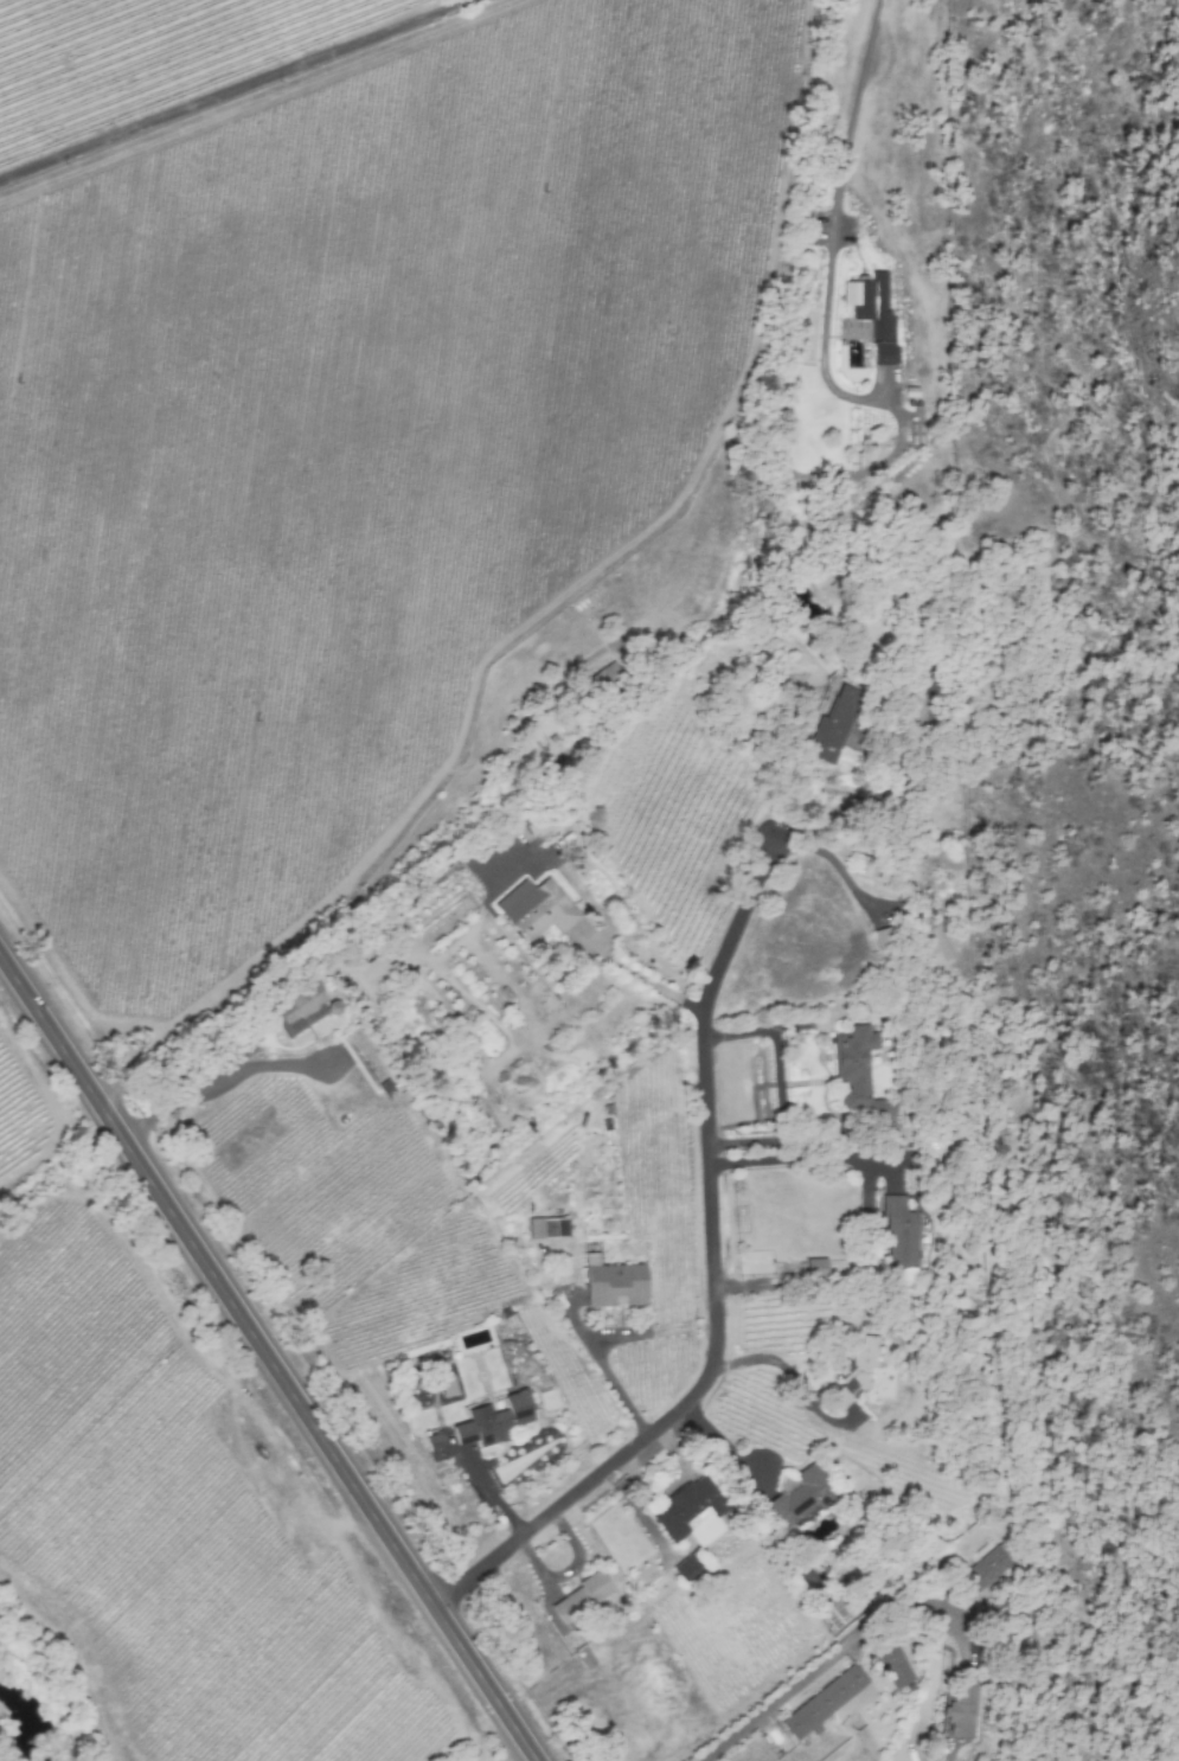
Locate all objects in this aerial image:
road: (232, 87)
road: (832, 224)
building: (872, 313)
building: (603, 680)
building: (833, 726)
building: (538, 817)
road: (837, 867)
building: (865, 867)
building: (536, 909)
building: (933, 939)
building: (378, 973)
road: (641, 979)
building: (300, 1003)
building: (333, 1007)
building: (858, 1072)
road: (220, 1077)
road: (802, 1158)
building: (547, 1228)
building: (899, 1234)
building: (815, 1268)
road: (713, 1273)
building: (613, 1283)
road: (267, 1358)
road: (776, 1360)
building: (864, 1360)
road: (608, 1375)
building: (493, 1420)
building: (434, 1445)
building: (797, 1497)
building: (684, 1507)
building: (986, 1568)
building: (687, 1569)
building: (583, 1596)
building: (835, 1610)
road: (876, 1625)
building: (893, 1665)
building: (828, 1702)
building: (961, 1704)
river: (24, 1736)

